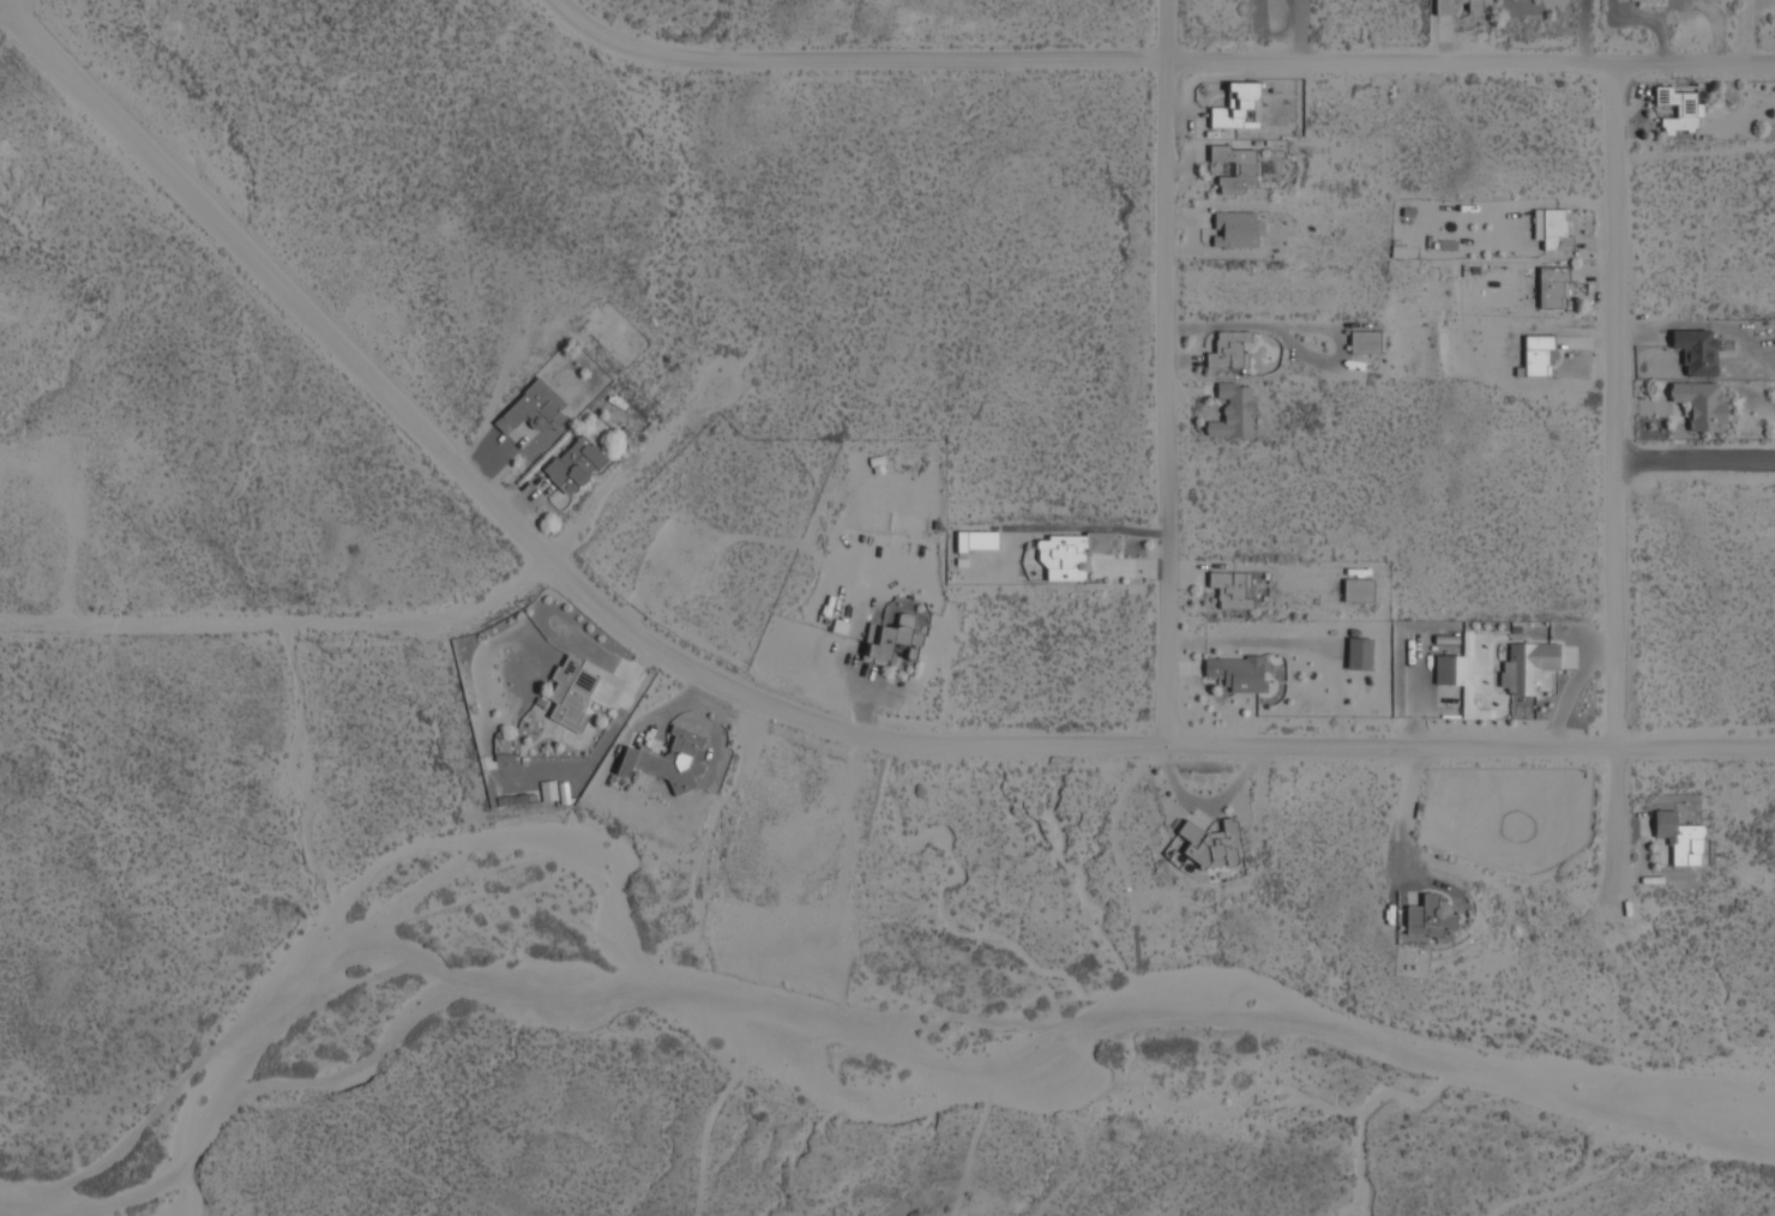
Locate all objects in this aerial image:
building: (1444, 7)
road: (576, 18)
road: (1185, 61)
building: (1238, 108)
building: (1679, 110)
building: (1237, 169)
road: (156, 174)
building: (1552, 229)
building: (1234, 230)
building: (1552, 287)
building: (1364, 343)
building: (1228, 350)
building: (1696, 351)
building: (1536, 354)
road: (1163, 373)
building: (1701, 405)
building: (1233, 411)
road: (1693, 459)
road: (1612, 483)
building: (1071, 555)
road: (544, 561)
building: (1231, 590)
building: (1358, 590)
building: (1359, 655)
building: (1528, 667)
building: (1454, 669)
building: (1237, 673)
road: (979, 742)
building: (669, 760)
building: (1679, 838)
building: (1211, 844)
building: (1428, 919)

